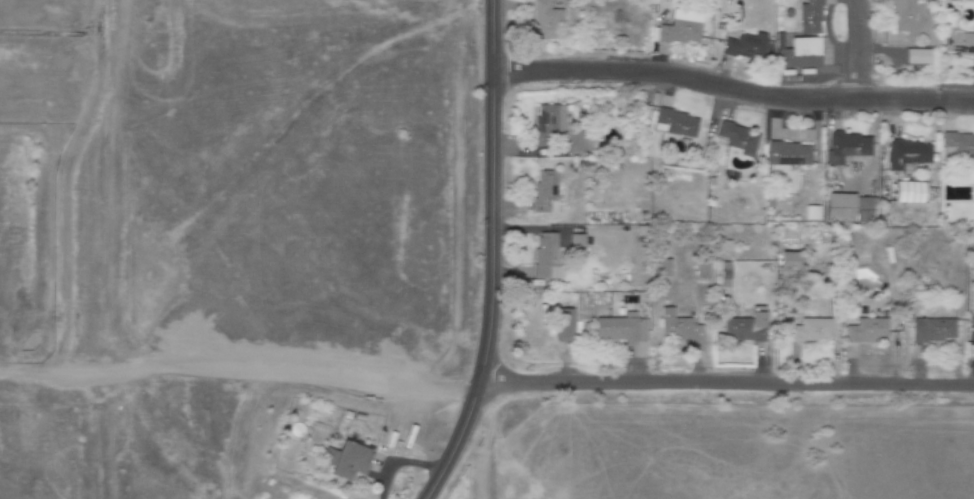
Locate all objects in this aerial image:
building: (902, 16)
building: (810, 18)
building: (546, 20)
building: (682, 28)
building: (958, 45)
building: (745, 46)
road: (858, 50)
building: (800, 54)
building: (917, 57)
road: (733, 89)
building: (677, 123)
building: (549, 125)
building: (739, 139)
building: (579, 142)
building: (848, 148)
building: (958, 149)
building: (789, 155)
building: (907, 155)
building: (545, 192)
building: (910, 193)
building: (850, 209)
building: (813, 213)
road: (493, 250)
building: (546, 257)
building: (788, 262)
building: (663, 268)
building: (702, 270)
building: (564, 326)
building: (621, 329)
building: (746, 329)
building: (681, 330)
building: (811, 331)
building: (868, 331)
building: (933, 331)
road: (239, 370)
road: (726, 384)
road: (463, 444)
building: (349, 461)

